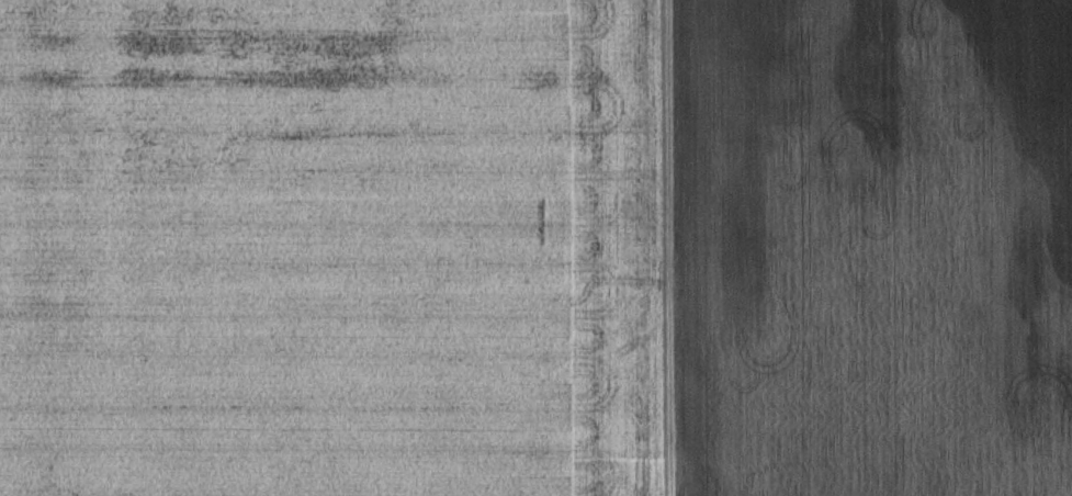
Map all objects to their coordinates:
crop: (535, 248)

